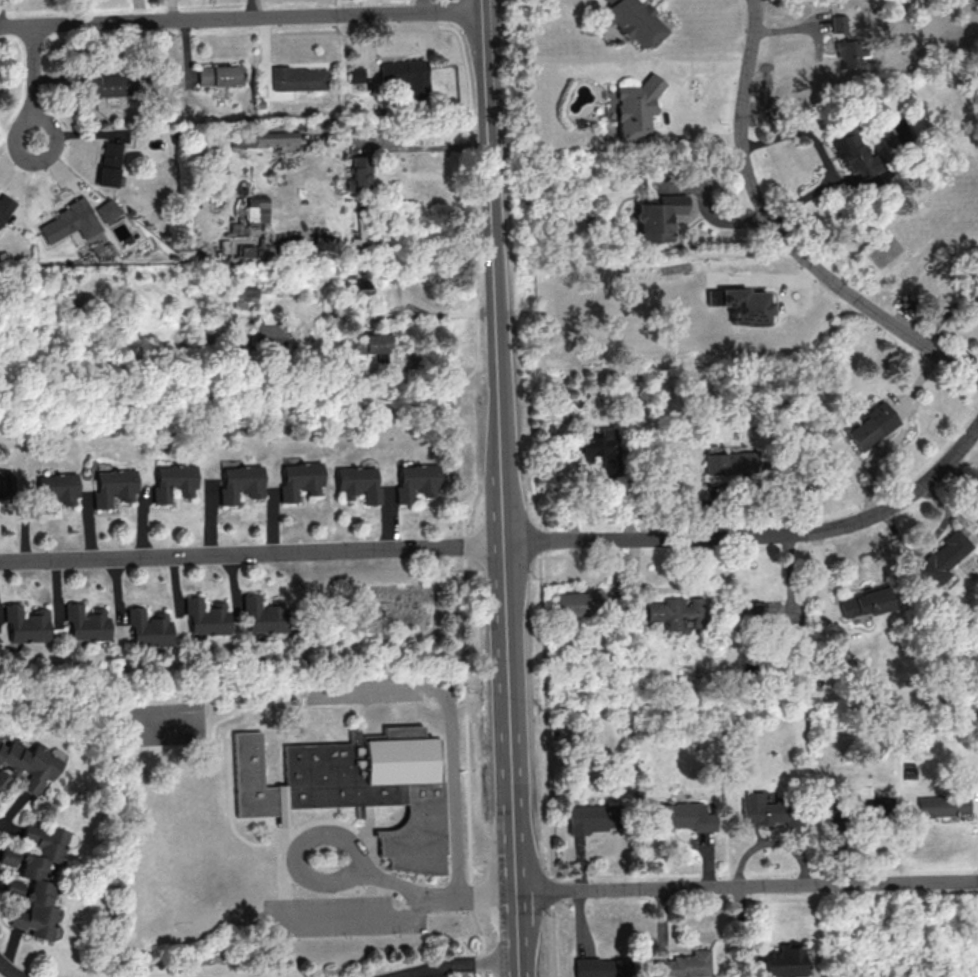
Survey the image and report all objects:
road: (482, 5)
road: (453, 10)
road: (241, 19)
building: (632, 21)
building: (837, 23)
building: (849, 52)
road: (819, 53)
building: (359, 76)
building: (222, 77)
building: (409, 77)
building: (300, 79)
road: (36, 82)
building: (114, 86)
road: (666, 101)
building: (636, 107)
building: (264, 138)
road: (432, 148)
building: (852, 151)
road: (824, 155)
building: (109, 163)
building: (359, 174)
road: (489, 181)
building: (5, 206)
road: (706, 207)
building: (107, 210)
building: (658, 217)
building: (70, 222)
road: (784, 232)
building: (361, 234)
building: (243, 251)
road: (475, 280)
building: (974, 290)
building: (242, 295)
building: (745, 306)
road: (946, 315)
building: (267, 332)
building: (373, 345)
building: (869, 424)
road: (902, 434)
road: (499, 448)
building: (603, 449)
building: (731, 463)
building: (302, 481)
building: (175, 483)
building: (418, 483)
building: (242, 484)
building: (360, 485)
building: (6, 486)
building: (116, 488)
building: (58, 492)
road: (893, 501)
road: (642, 537)
road: (465, 546)
road: (251, 552)
building: (940, 559)
building: (578, 602)
building: (864, 602)
building: (676, 612)
building: (762, 612)
building: (267, 617)
building: (209, 618)
building: (27, 626)
building: (88, 626)
building: (151, 630)
road: (363, 689)
parking lot: (363, 691)
road: (468, 720)
road: (509, 720)
road: (360, 723)
road: (548, 757)
building: (29, 764)
building: (3, 779)
road: (453, 784)
building: (356, 788)
road: (232, 791)
building: (944, 807)
building: (863, 811)
building: (771, 812)
road: (362, 813)
building: (598, 816)
building: (681, 818)
road: (365, 824)
road: (369, 835)
road: (246, 841)
park: (176, 850)
road: (356, 854)
road: (281, 863)
road: (373, 865)
building: (35, 878)
road: (320, 884)
road: (746, 885)
road: (440, 897)
road: (471, 897)
road: (486, 897)
road: (420, 905)
parking lot: (337, 918)
road: (342, 918)
road: (517, 929)
road: (484, 942)
building: (782, 961)
road: (464, 963)
building: (683, 964)
building: (600, 967)
road: (518, 969)
road: (9, 970)

